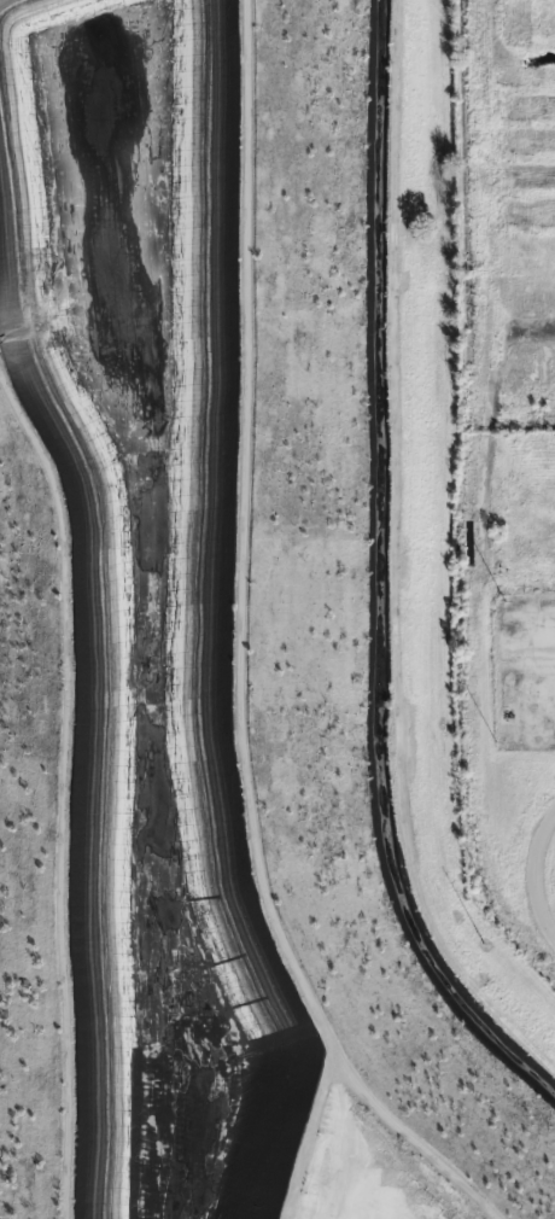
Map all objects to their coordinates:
railway: (471, 497)
road: (543, 876)

